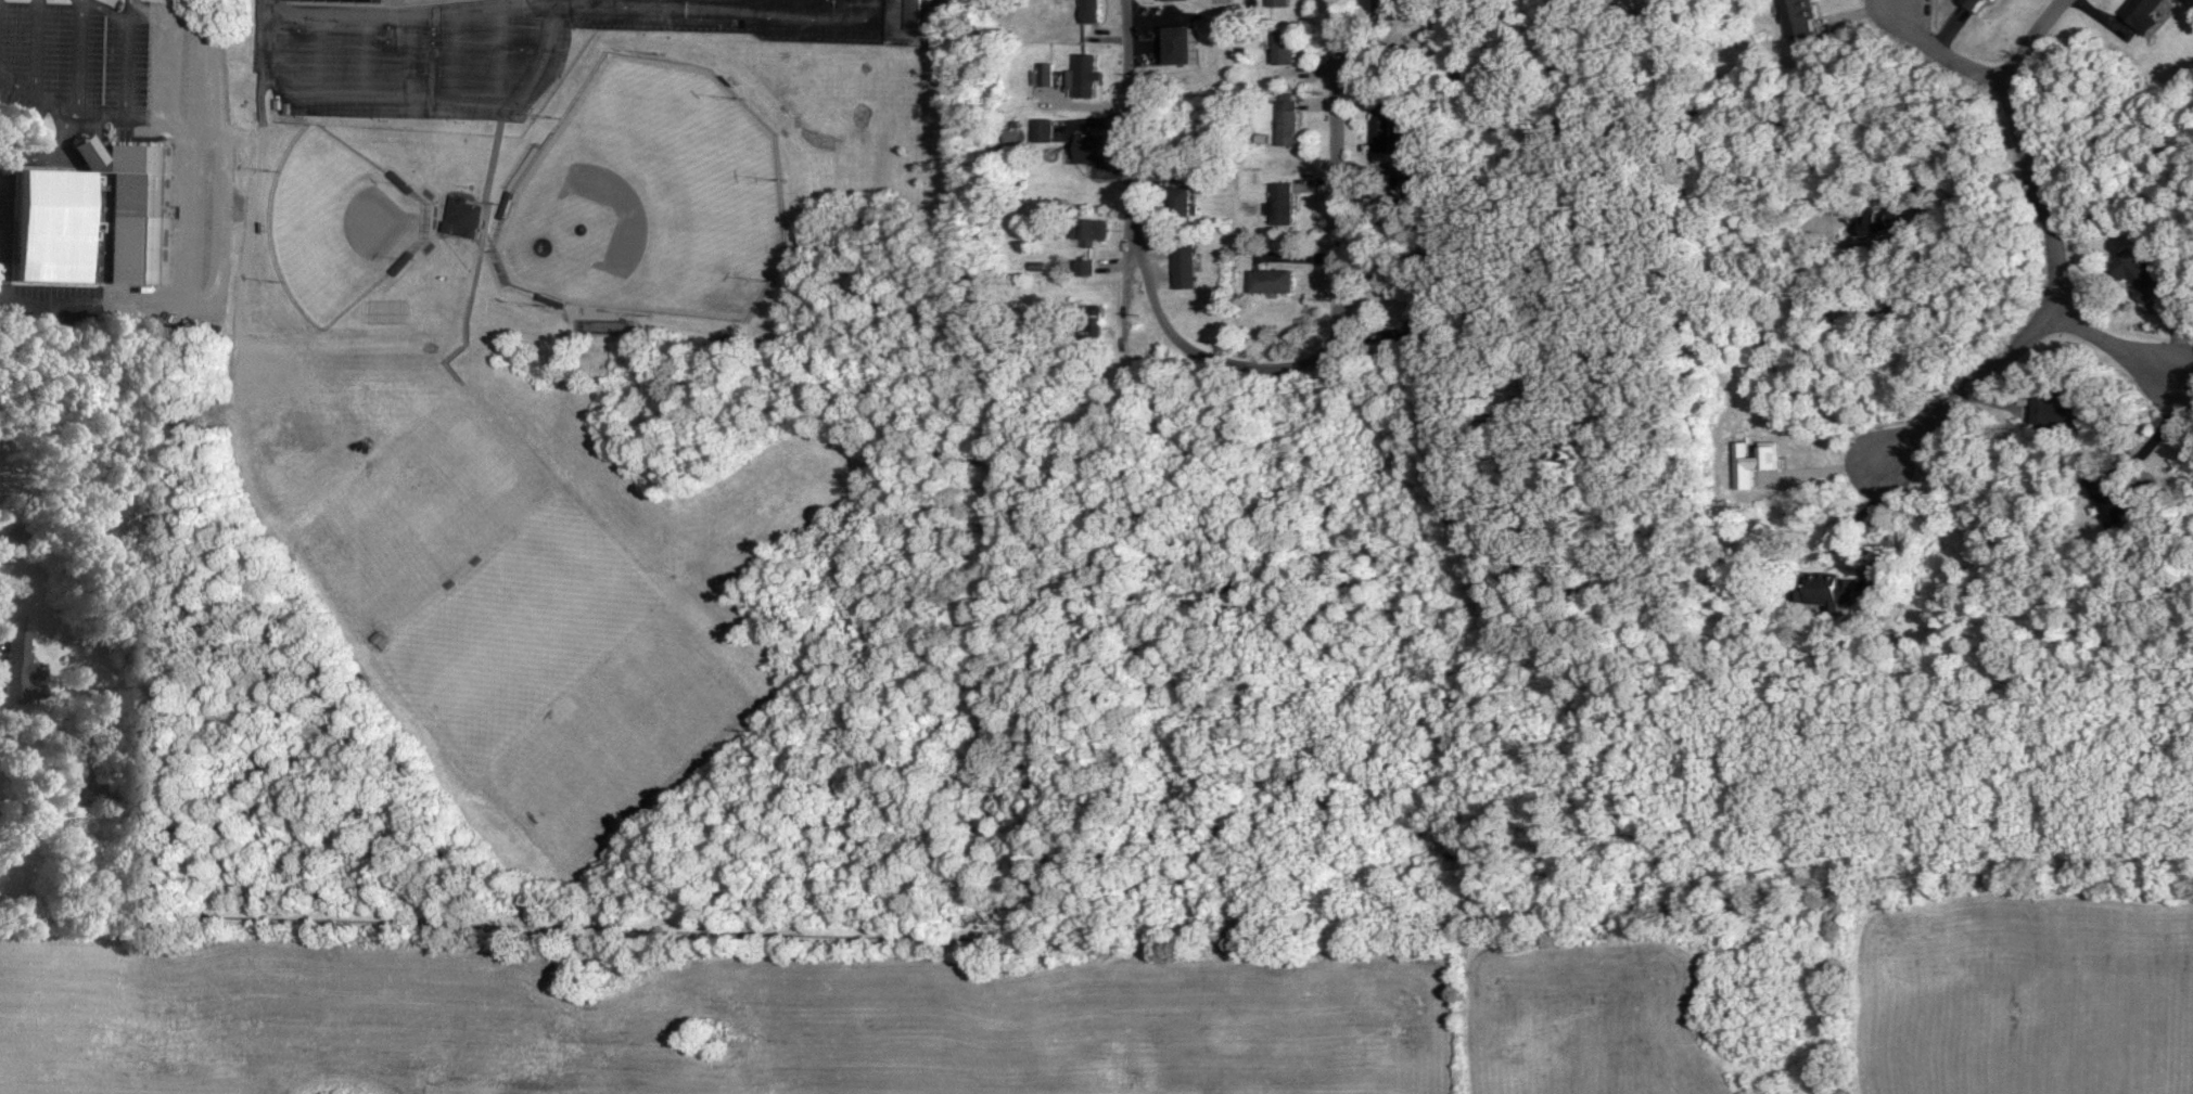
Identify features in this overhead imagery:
building: (1183, 0)
building: (353, 1)
building: (1280, 3)
building: (1967, 3)
road: (136, 5)
building: (1389, 10)
building: (1093, 11)
building: (2134, 13)
building: (913, 14)
road: (762, 15)
road: (400, 18)
building: (1802, 18)
road: (166, 44)
building: (1188, 46)
road: (35, 48)
building: (1288, 48)
road: (1942, 53)
road: (79, 61)
building: (1088, 76)
road: (413, 96)
parking lot: (136, 105)
road: (125, 107)
building: (1290, 124)
building: (1388, 127)
building: (1047, 131)
building: (1096, 149)
road: (2025, 150)
road: (207, 166)
park: (653, 194)
park: (653, 197)
building: (1286, 204)
building: (1185, 206)
building: (469, 216)
building: (1880, 220)
building: (92, 223)
park: (342, 226)
park: (347, 228)
building: (1098, 230)
building: (1186, 265)
building: (1087, 268)
building: (2133, 273)
building: (1275, 281)
building: (616, 326)
road: (2115, 348)
road: (1250, 369)
road: (1966, 390)
building: (2056, 410)
building: (2104, 494)
building: (1814, 585)
building: (17, 669)

